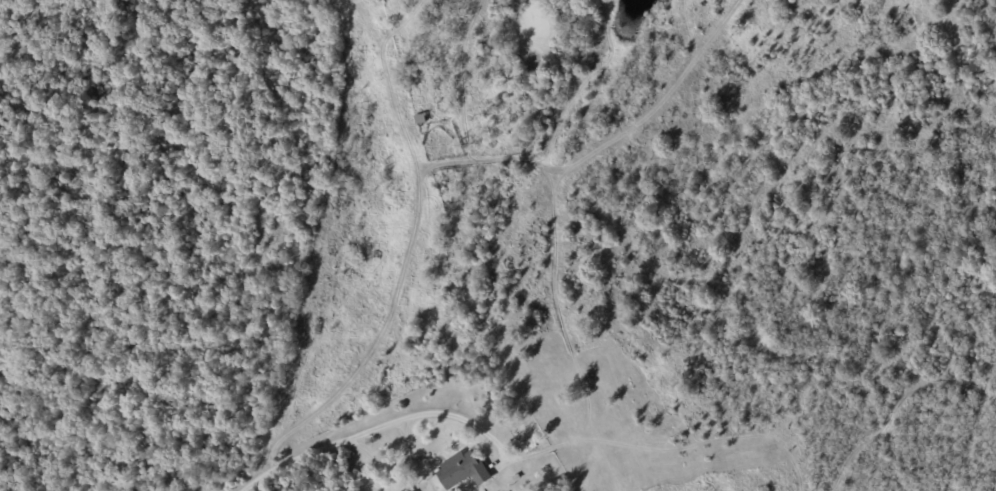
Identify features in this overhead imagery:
road: (368, 431)
building: (463, 470)
building: (410, 490)

